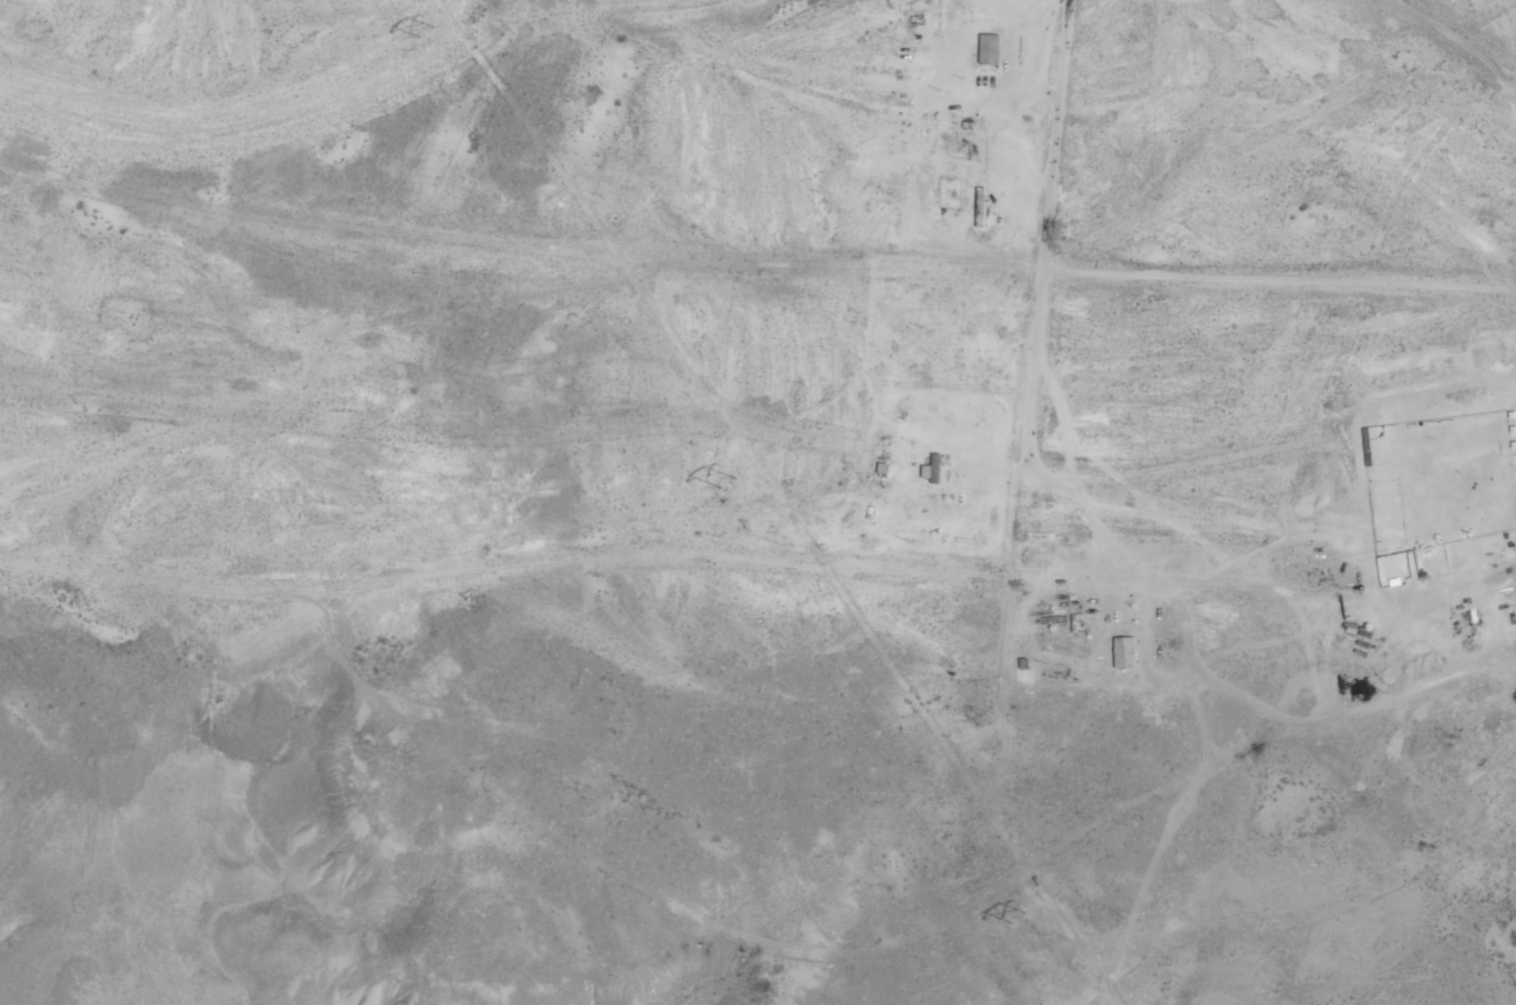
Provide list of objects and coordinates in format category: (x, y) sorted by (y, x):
power tower: (428, 30)
road: (1448, 38)
building: (989, 49)
road: (1505, 87)
road: (260, 95)
road: (1053, 134)
road: (755, 208)
road: (1278, 289)
road: (838, 430)
building: (936, 469)
power tower: (727, 480)
building: (1123, 652)
power tower: (1018, 914)

